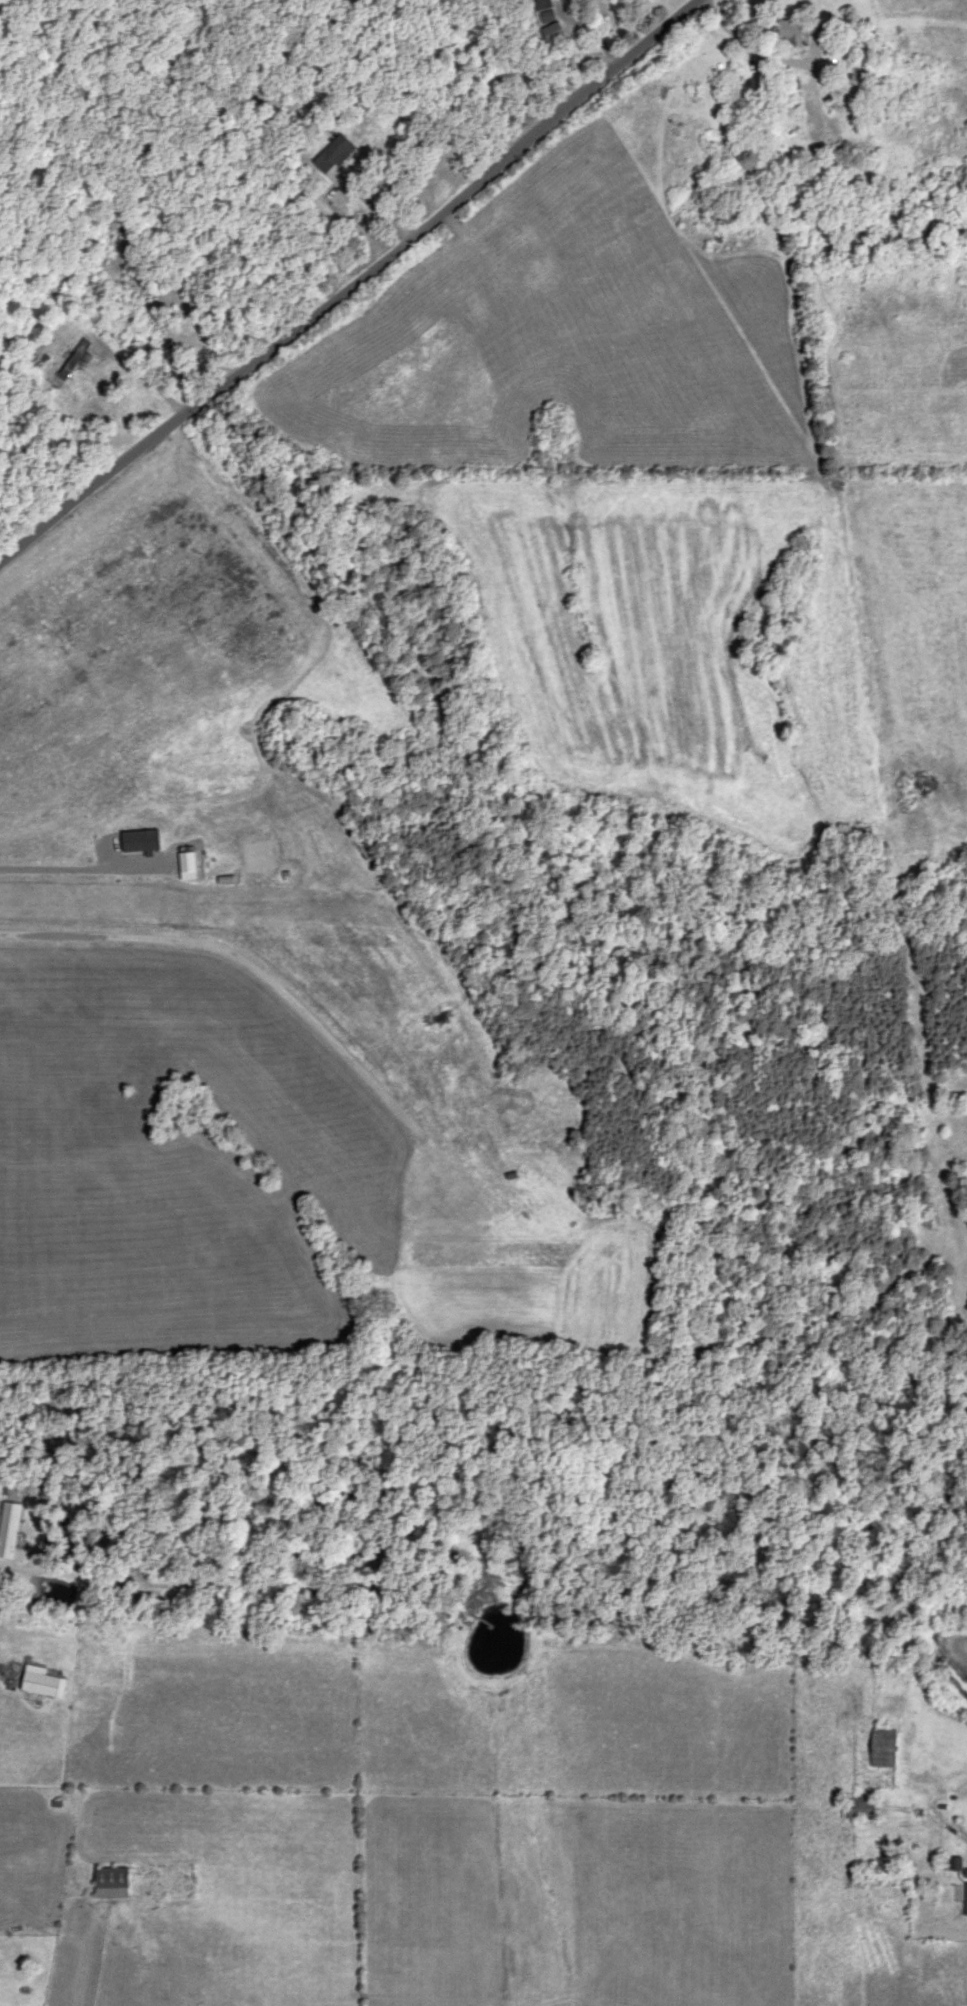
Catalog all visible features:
building: (544, 8)
building: (804, 31)
building: (557, 33)
building: (337, 155)
road: (326, 272)
building: (79, 360)
building: (12, 1531)
building: (44, 1683)
building: (890, 1749)
building: (864, 1809)
building: (116, 1884)

